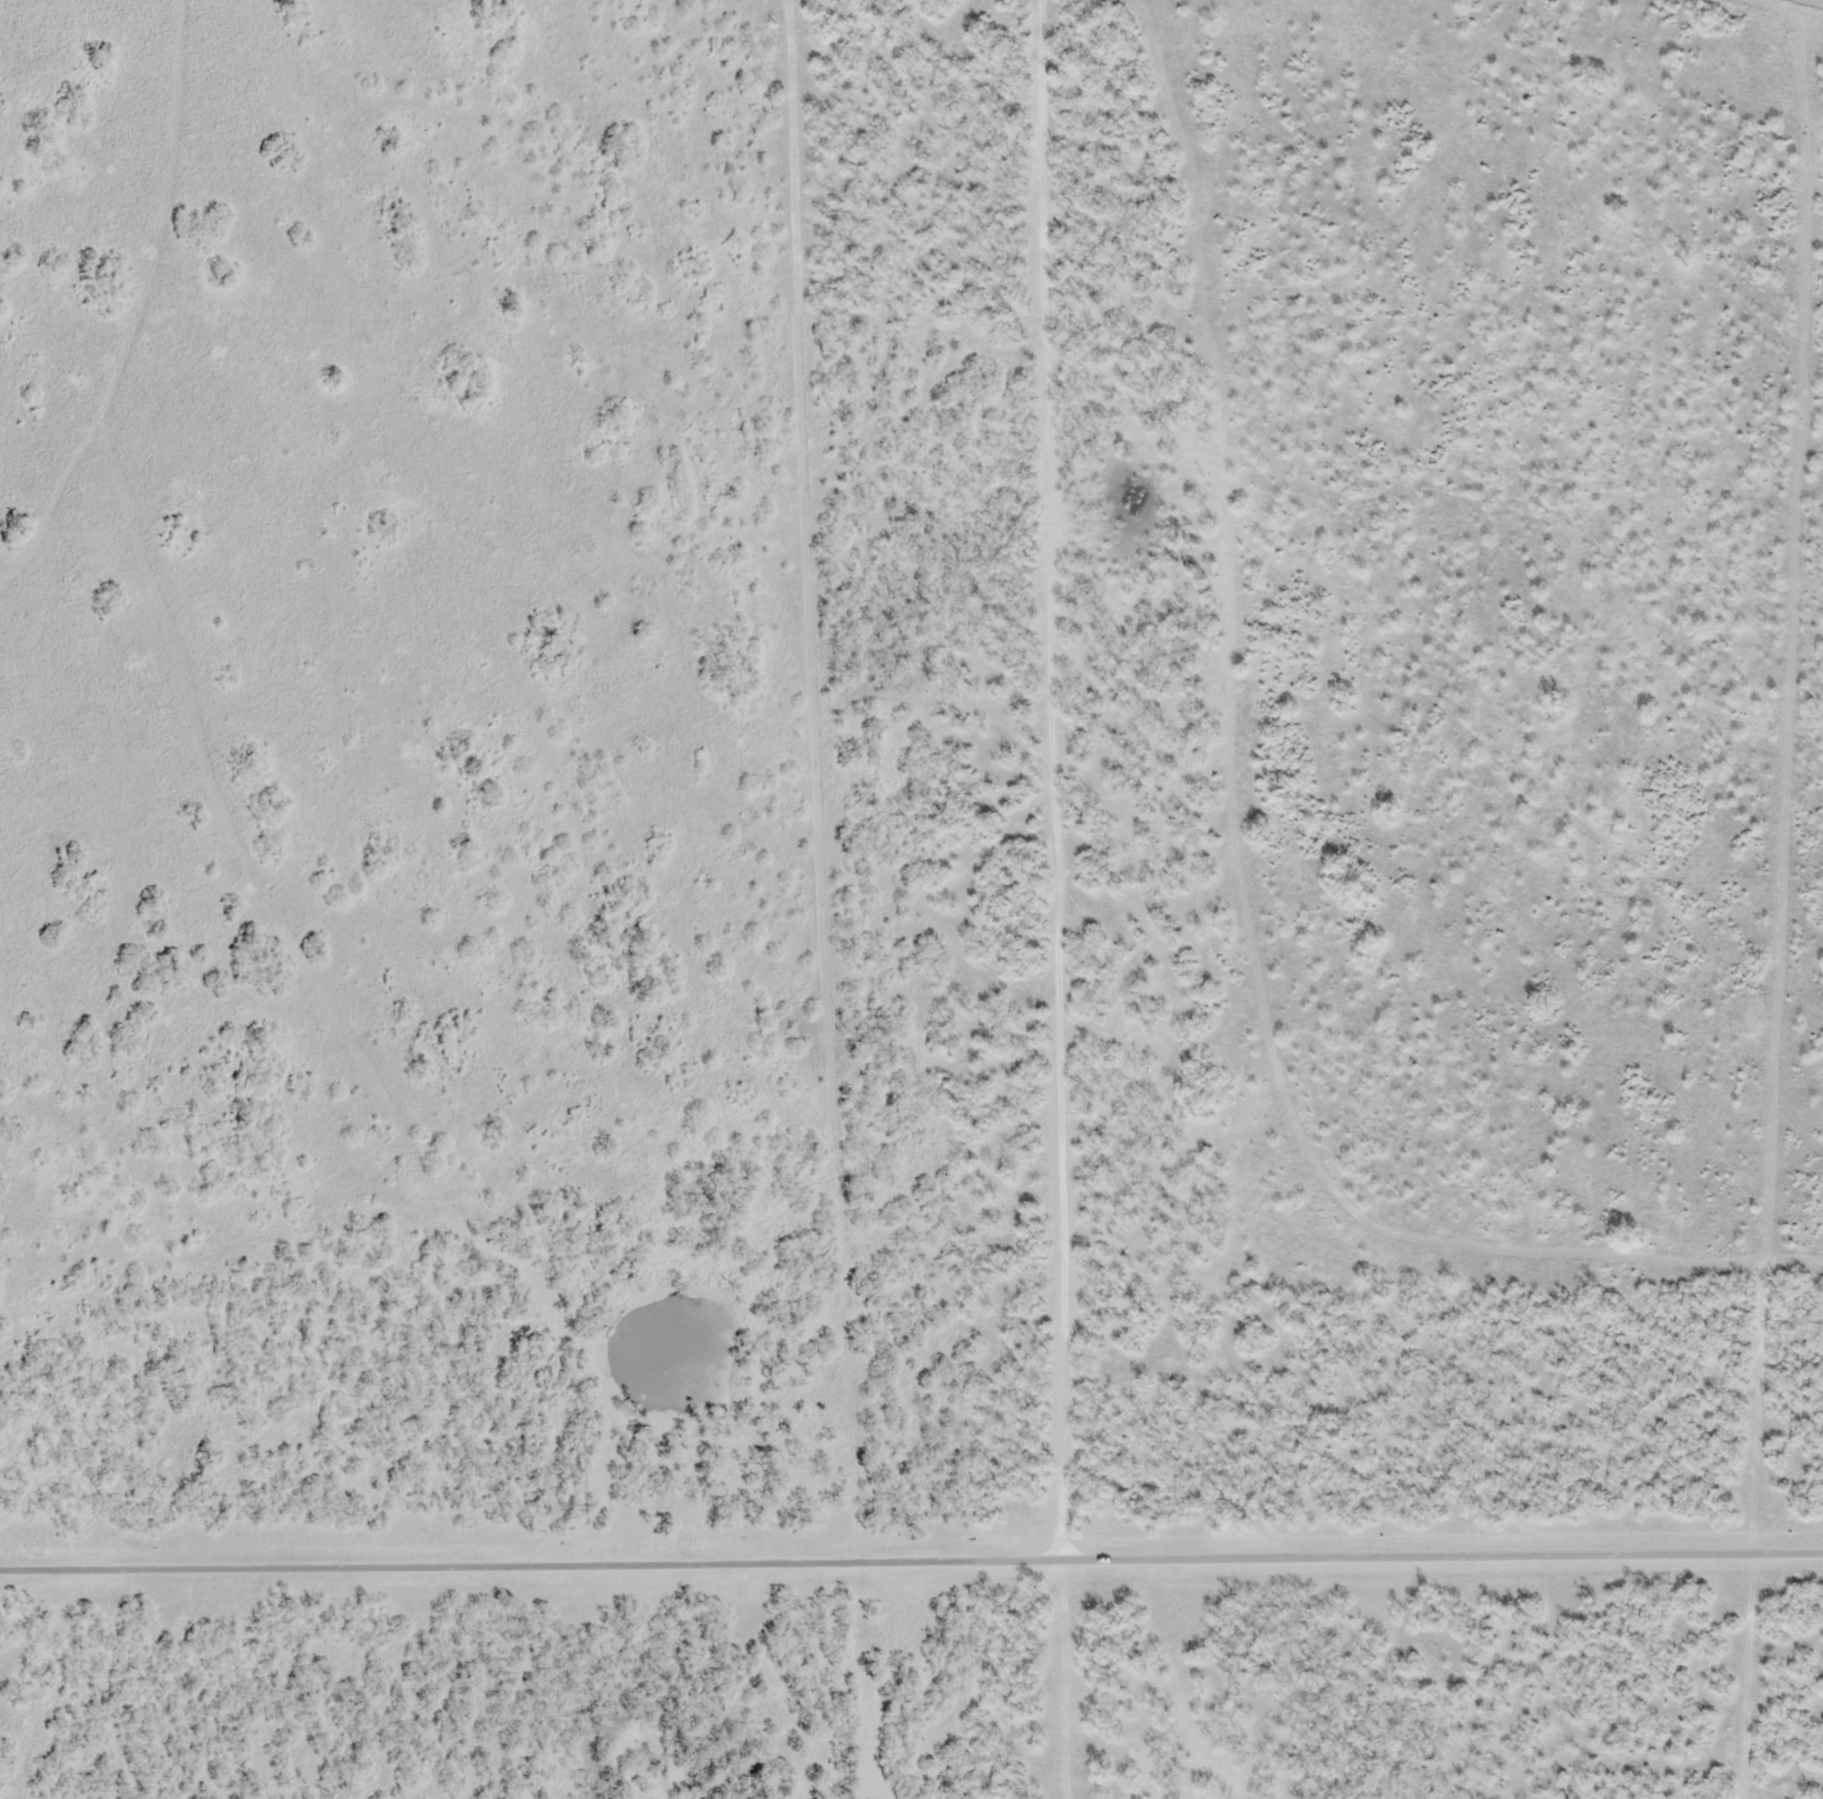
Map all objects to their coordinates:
road: (1049, 758)
road: (911, 1518)

